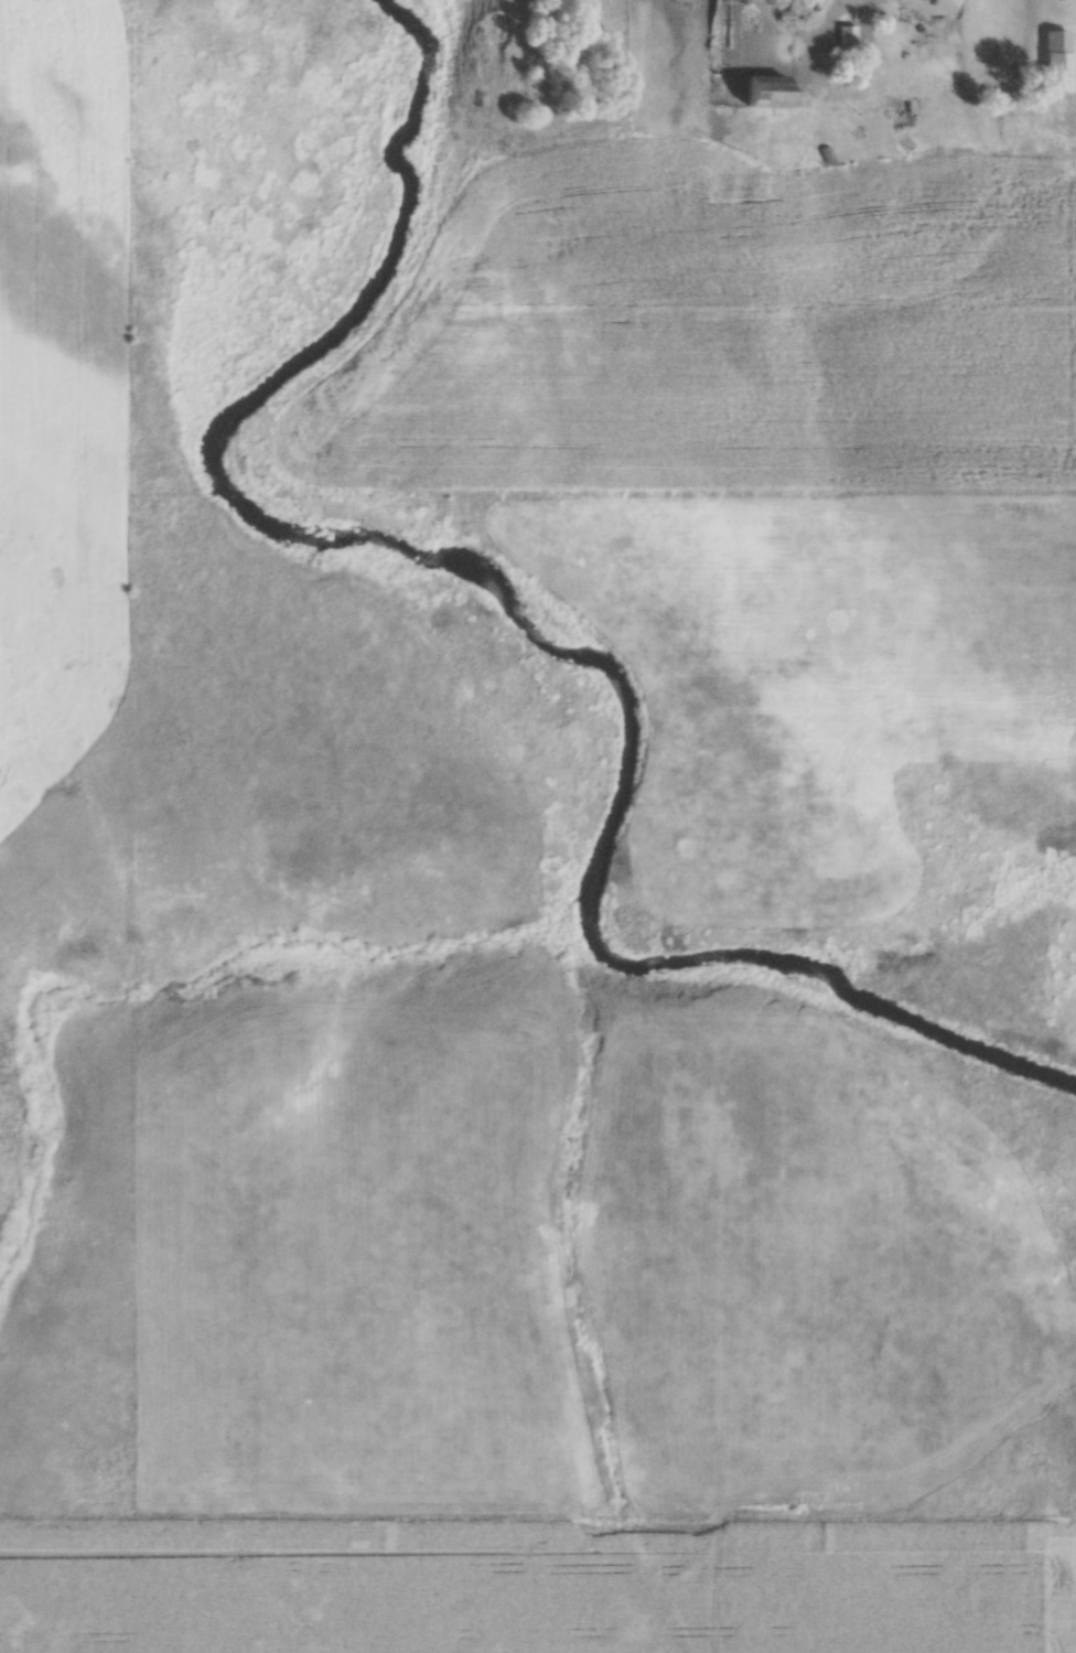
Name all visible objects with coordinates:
building: (728, 13)
building: (847, 39)
building: (1054, 61)
building: (760, 89)
road: (849, 90)

